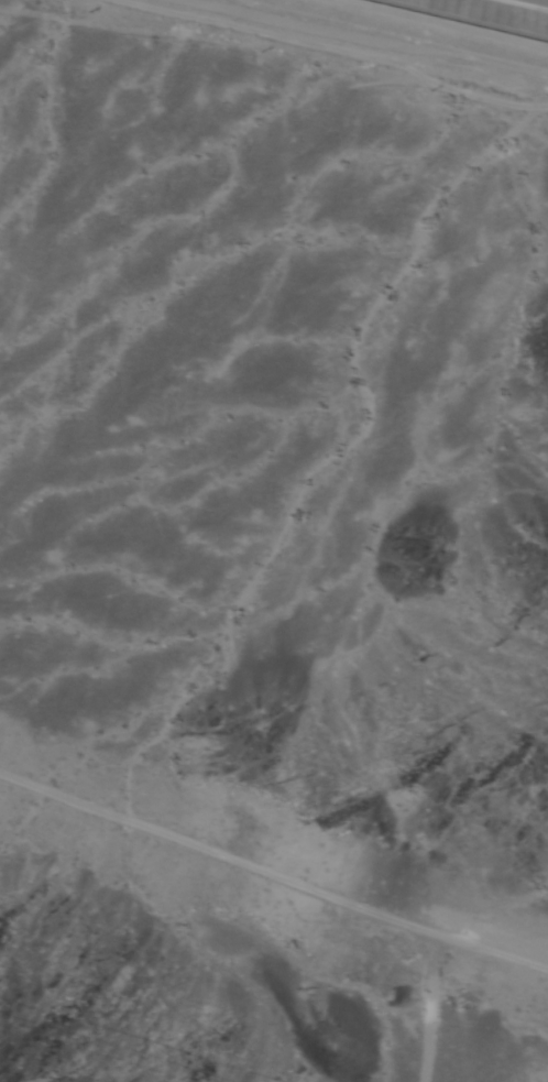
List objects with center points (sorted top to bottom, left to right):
power substation: (482, 15)
road: (335, 52)
road: (273, 874)

